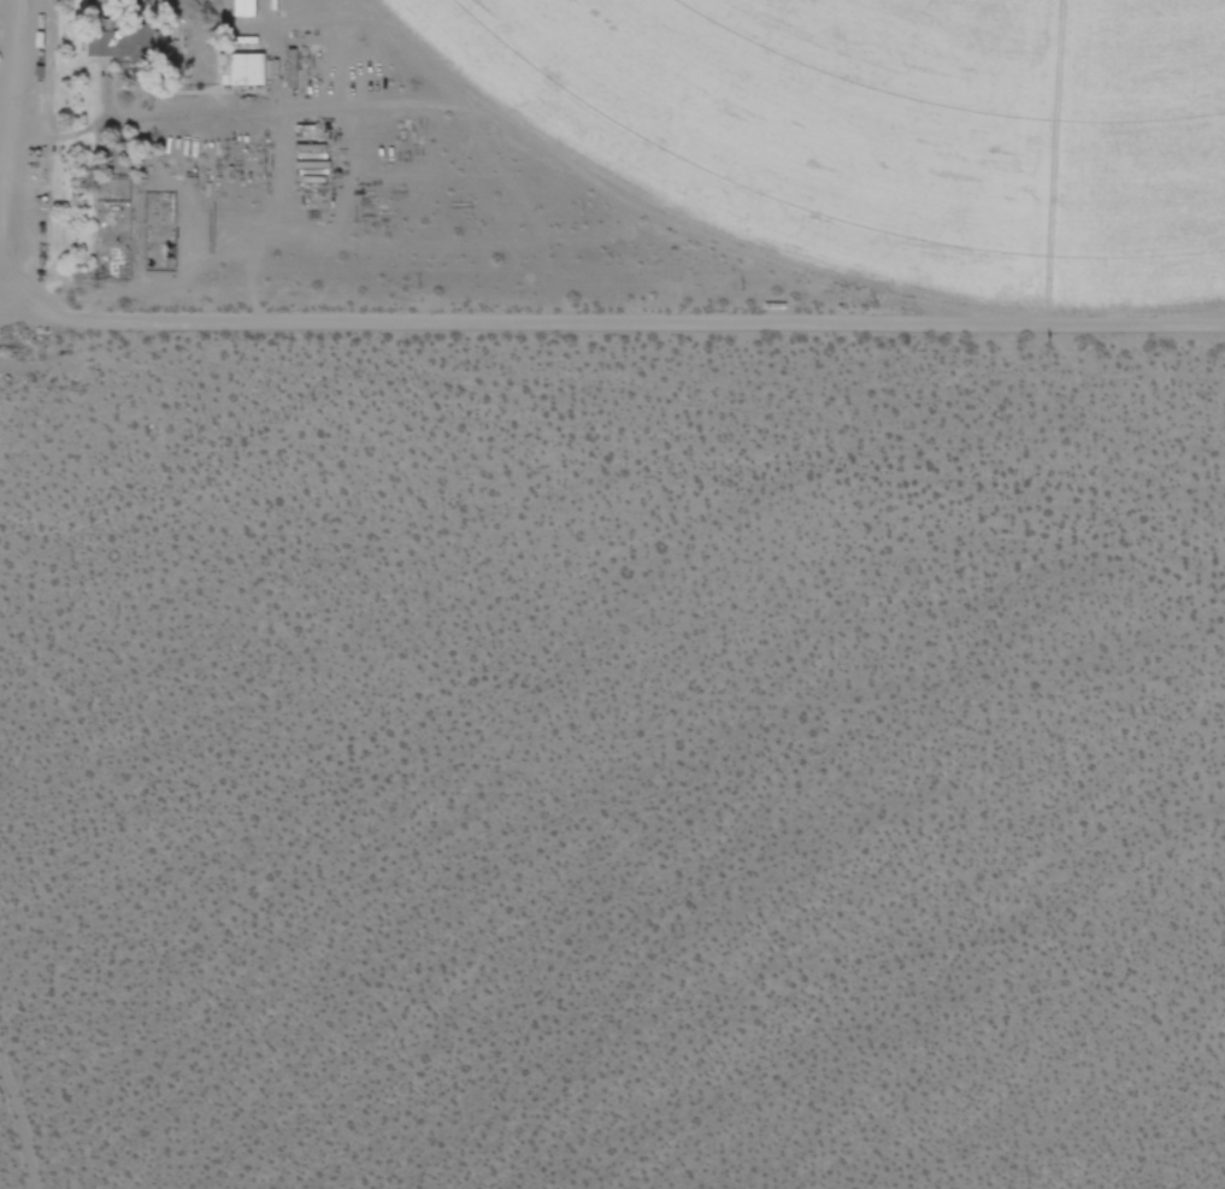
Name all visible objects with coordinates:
building: (247, 6)
building: (129, 42)
building: (242, 67)
crop: (888, 129)
road: (643, 319)

